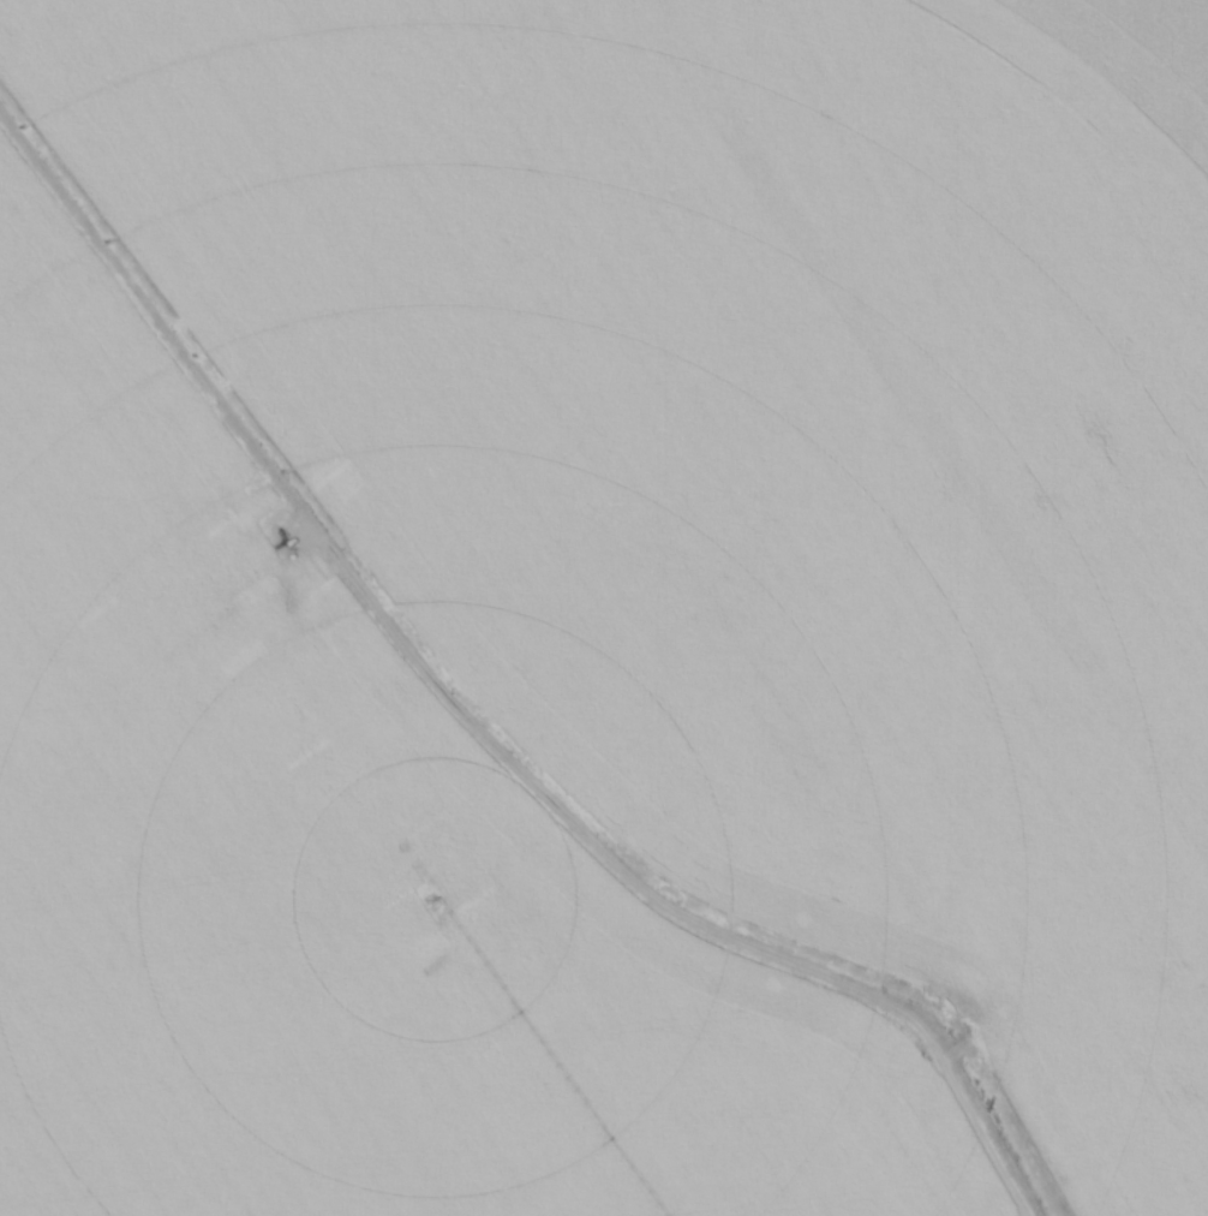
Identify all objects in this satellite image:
crop: (596, 615)

